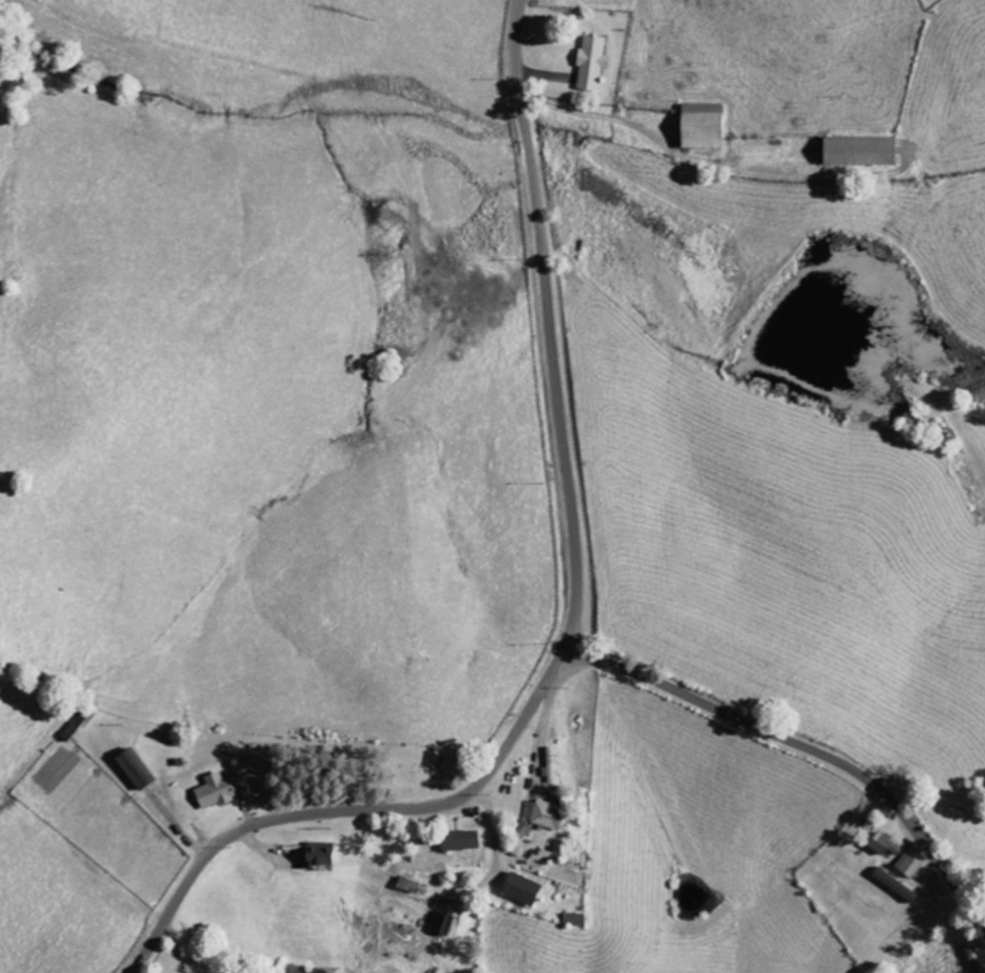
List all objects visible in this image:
building: (592, 64)
building: (703, 127)
building: (861, 152)
road: (573, 617)
road: (805, 747)
building: (552, 758)
building: (134, 769)
building: (219, 790)
building: (539, 821)
building: (462, 841)
building: (885, 845)
building: (321, 854)
building: (909, 866)
building: (409, 882)
building: (896, 885)
building: (524, 889)
building: (575, 920)
building: (442, 923)

